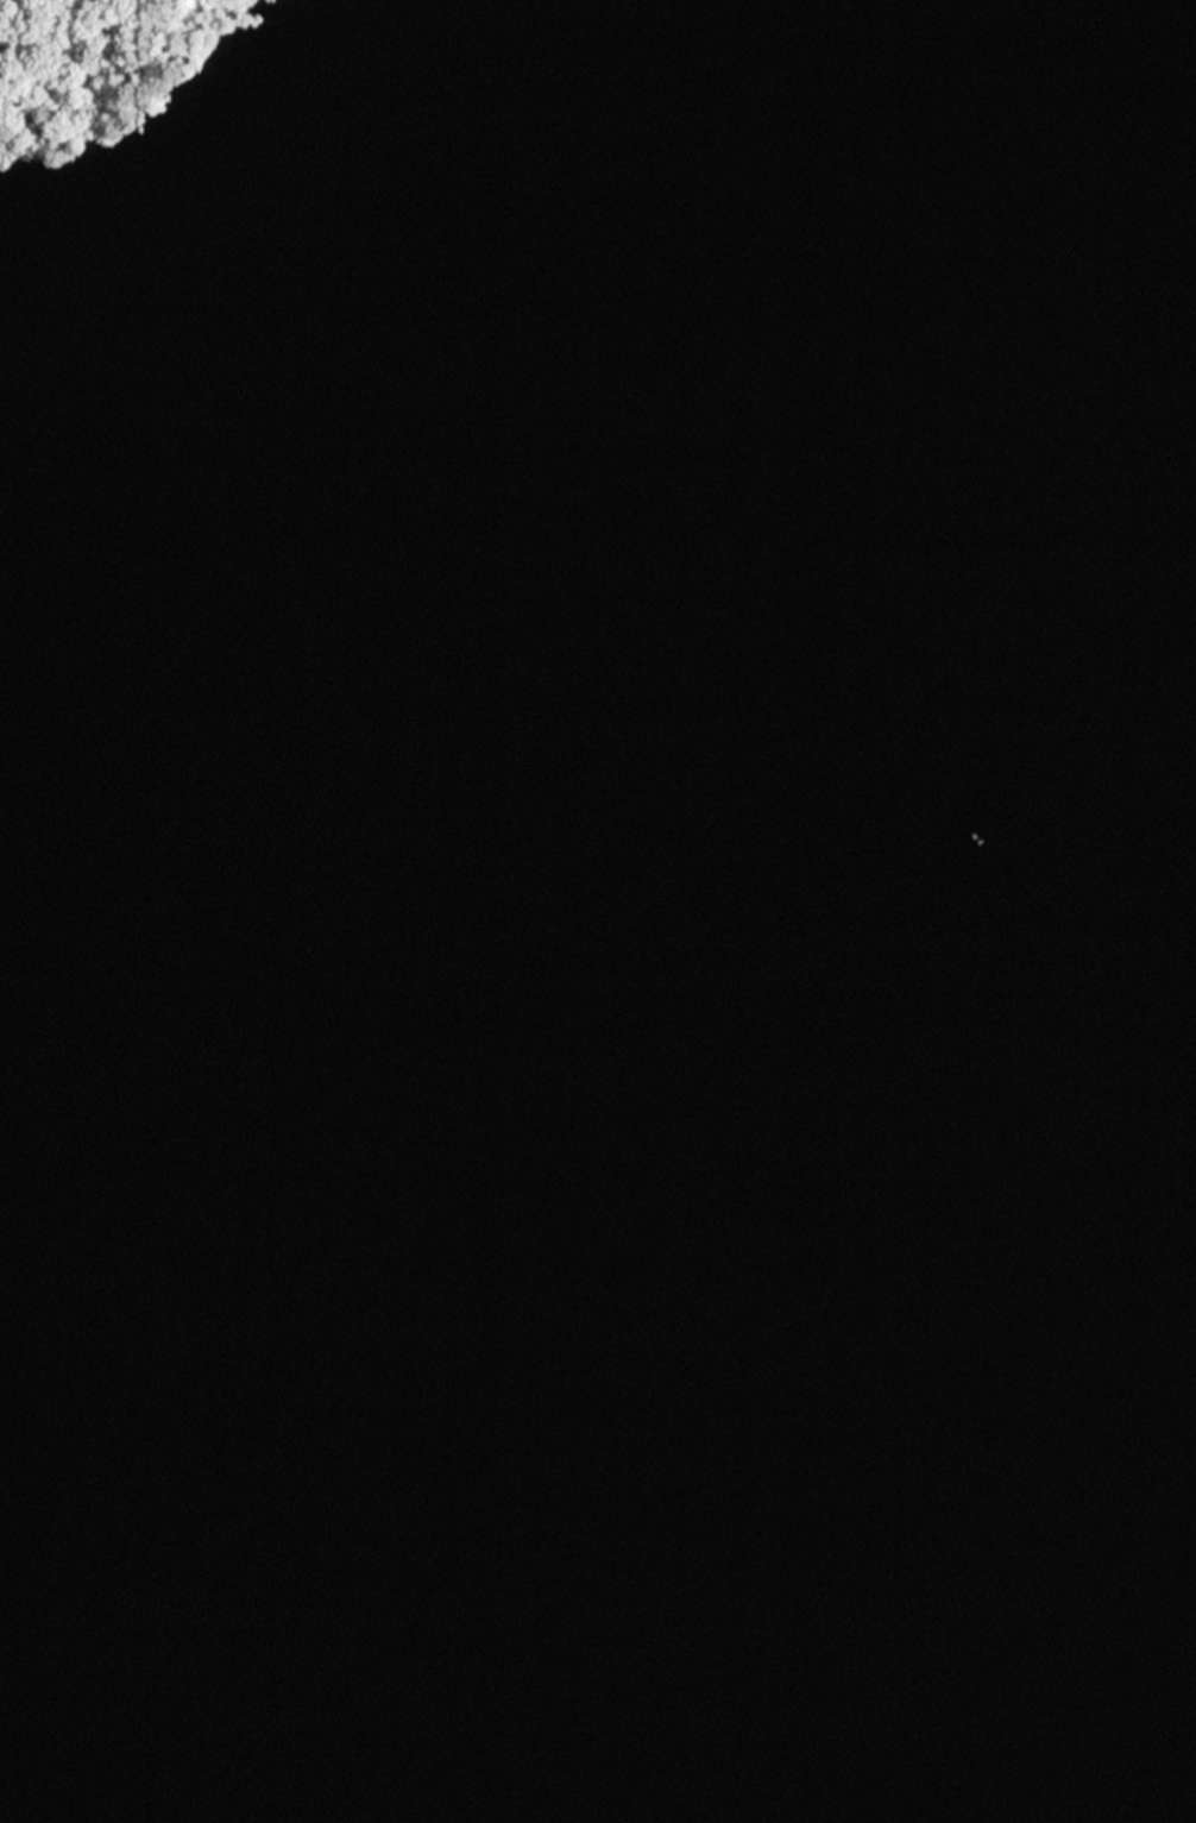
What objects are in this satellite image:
river: (602, 1528)

